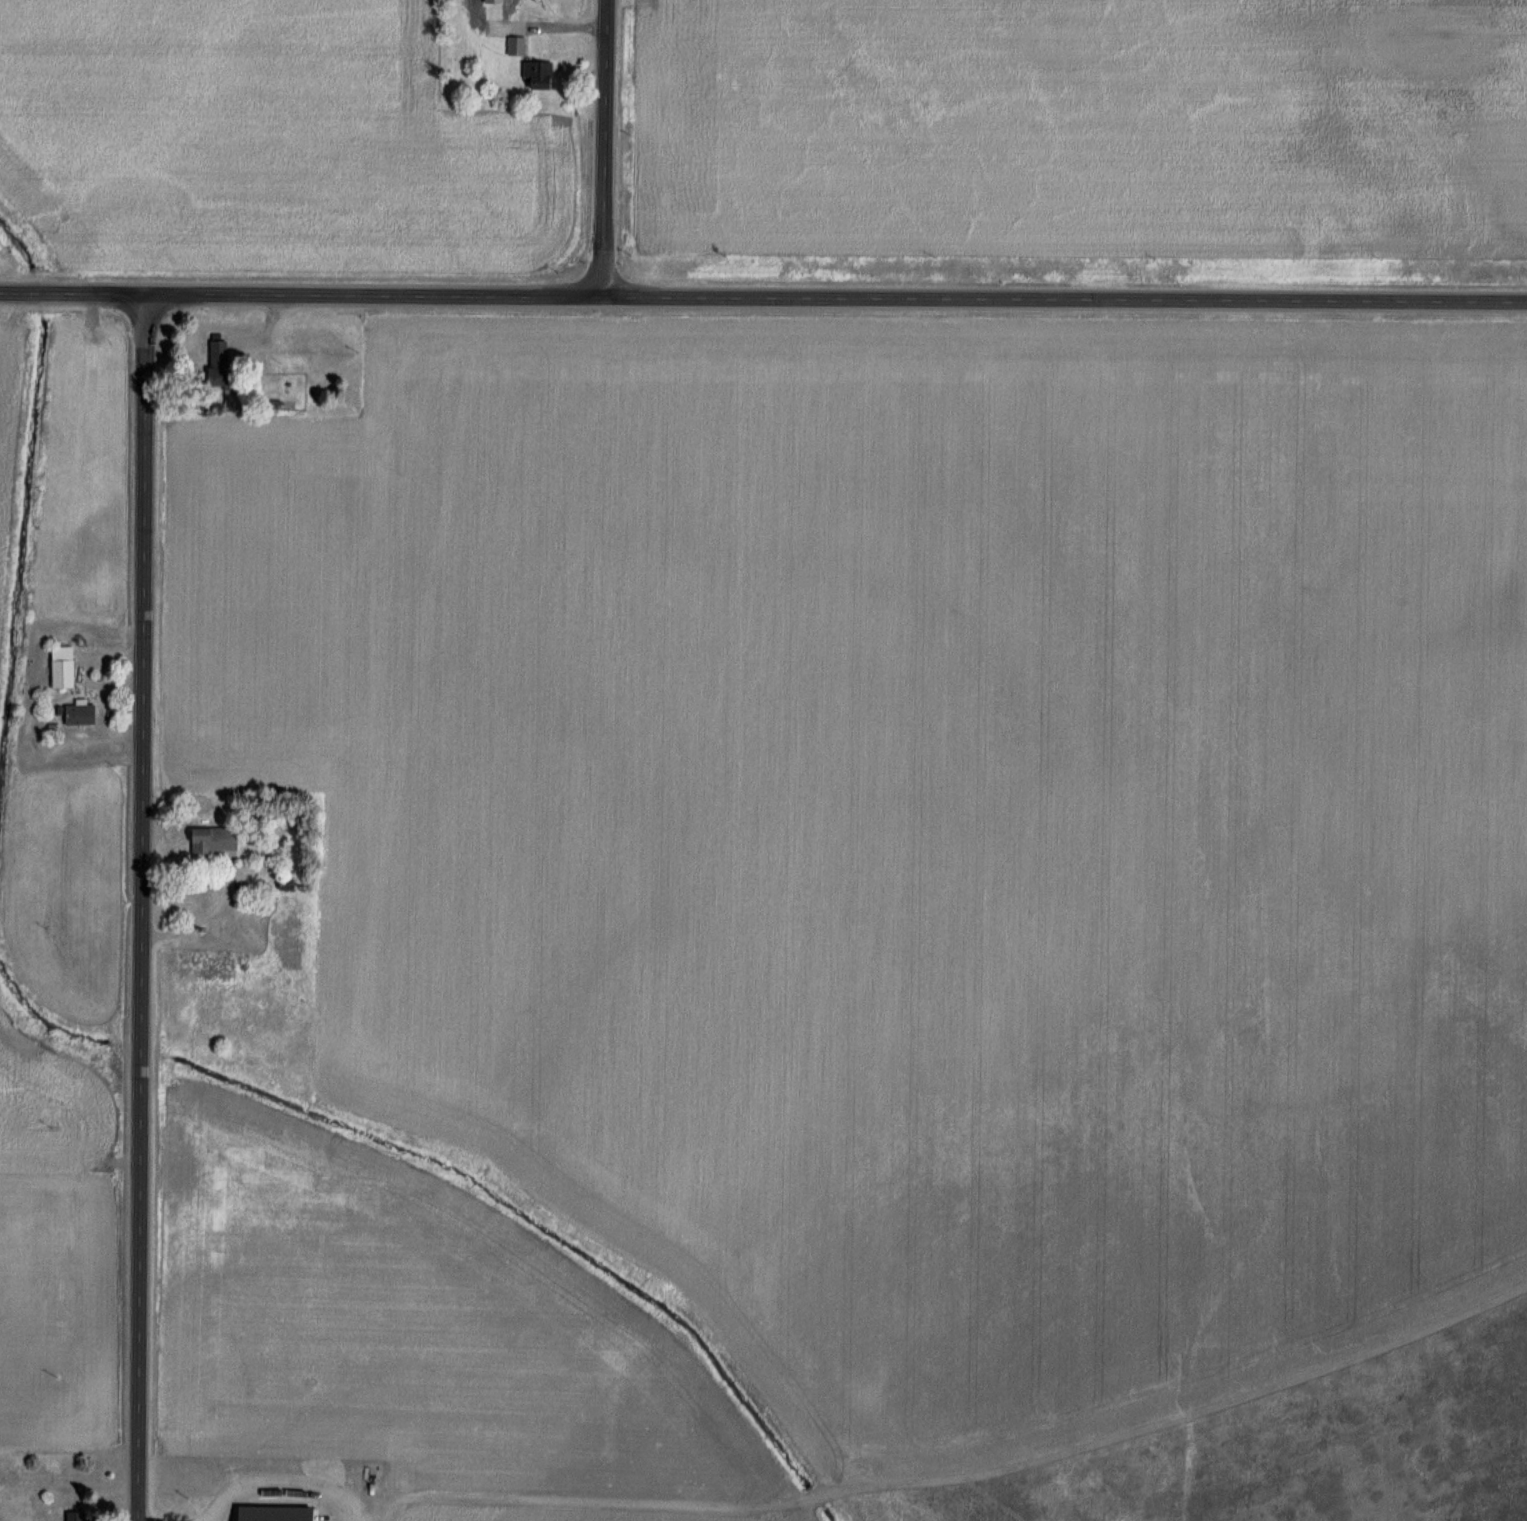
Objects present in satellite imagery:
building: (512, 46)
building: (532, 75)
road: (602, 147)
road: (763, 296)
building: (214, 364)
building: (57, 668)
road: (1410, 710)
building: (76, 715)
building: (209, 841)
road: (141, 907)
road: (199, 919)
building: (283, 930)
building: (255, 1511)
building: (71, 1516)

